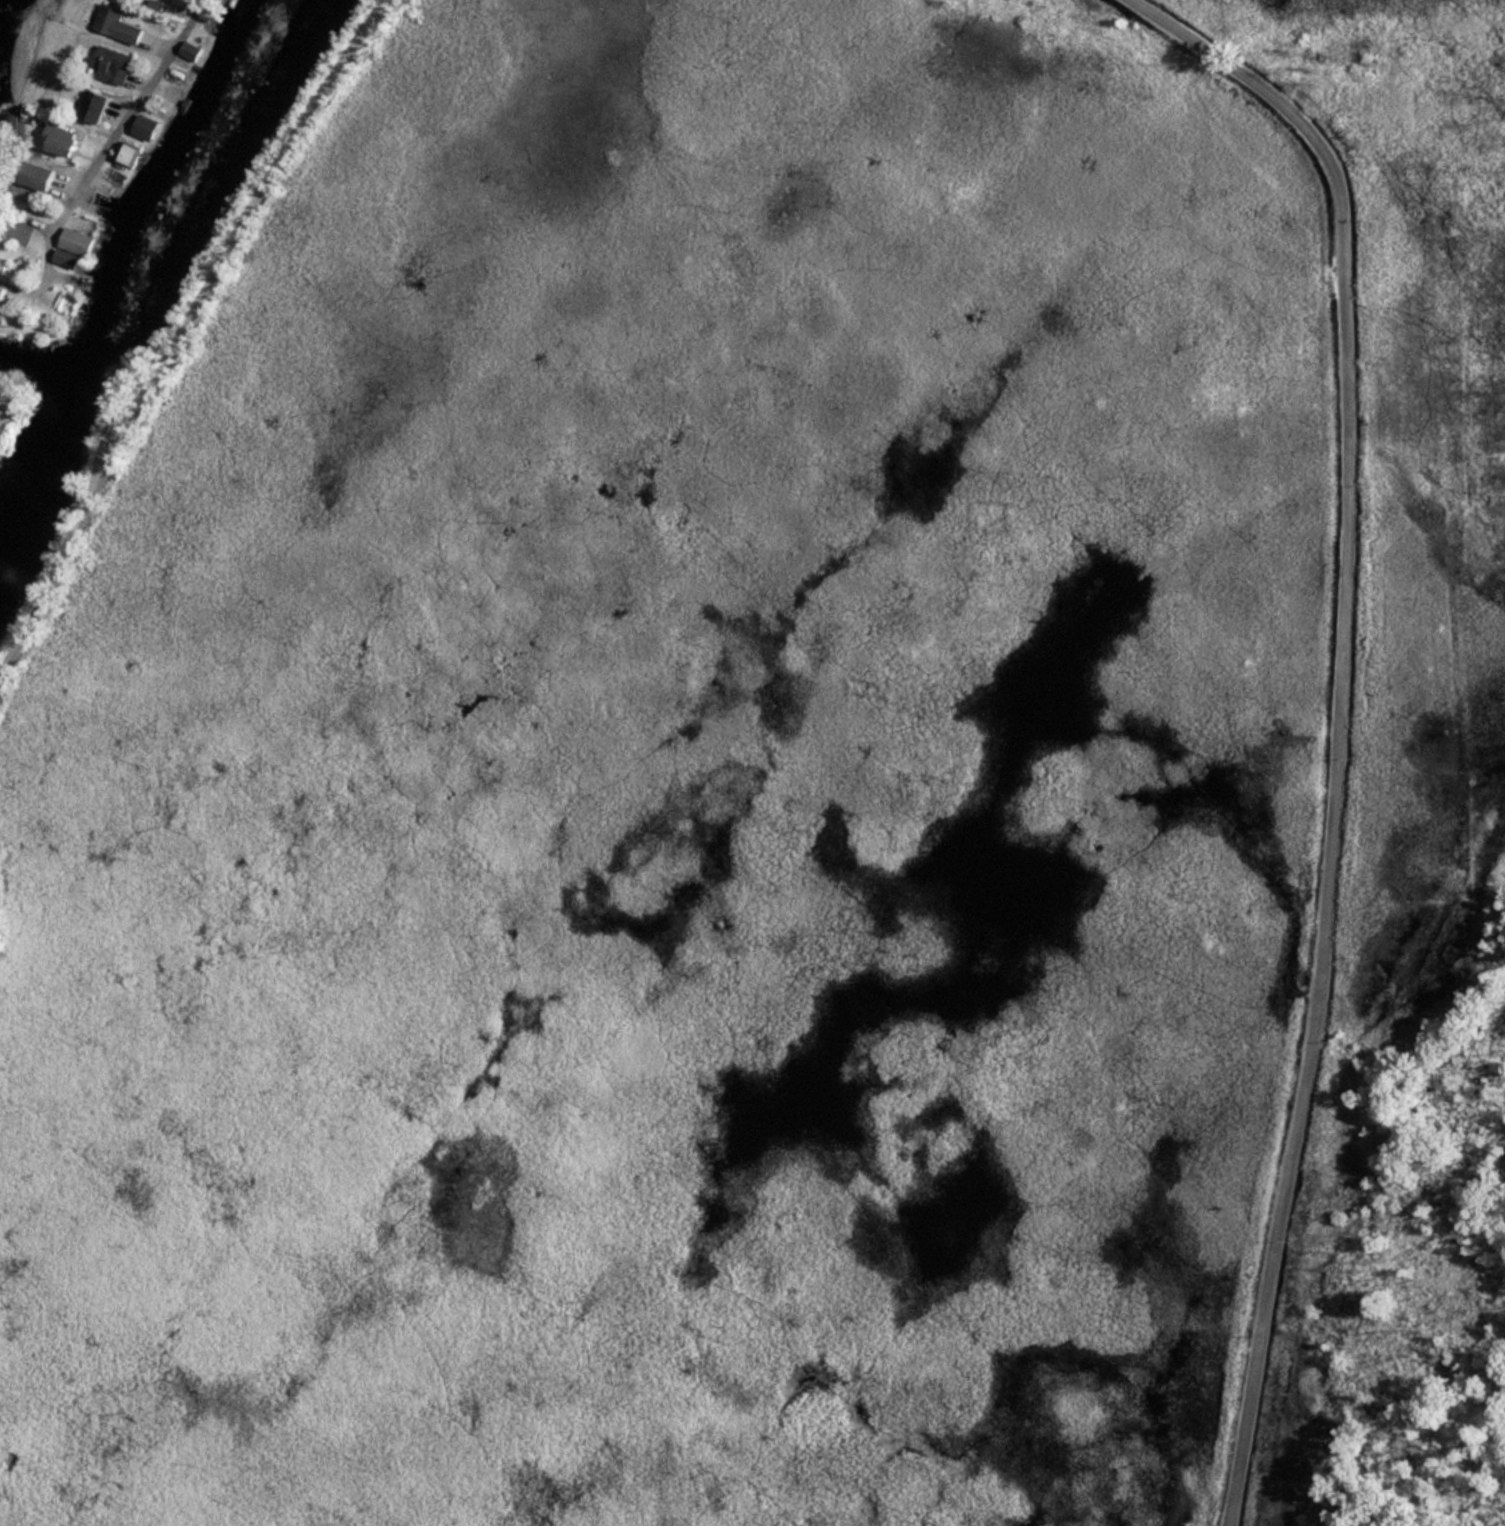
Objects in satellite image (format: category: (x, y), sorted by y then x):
building: (116, 24)
building: (190, 51)
building: (111, 64)
road: (142, 91)
building: (92, 105)
building: (145, 127)
building: (60, 140)
building: (36, 176)
building: (73, 247)
building: (2, 281)
road: (181, 332)
road: (1337, 717)

